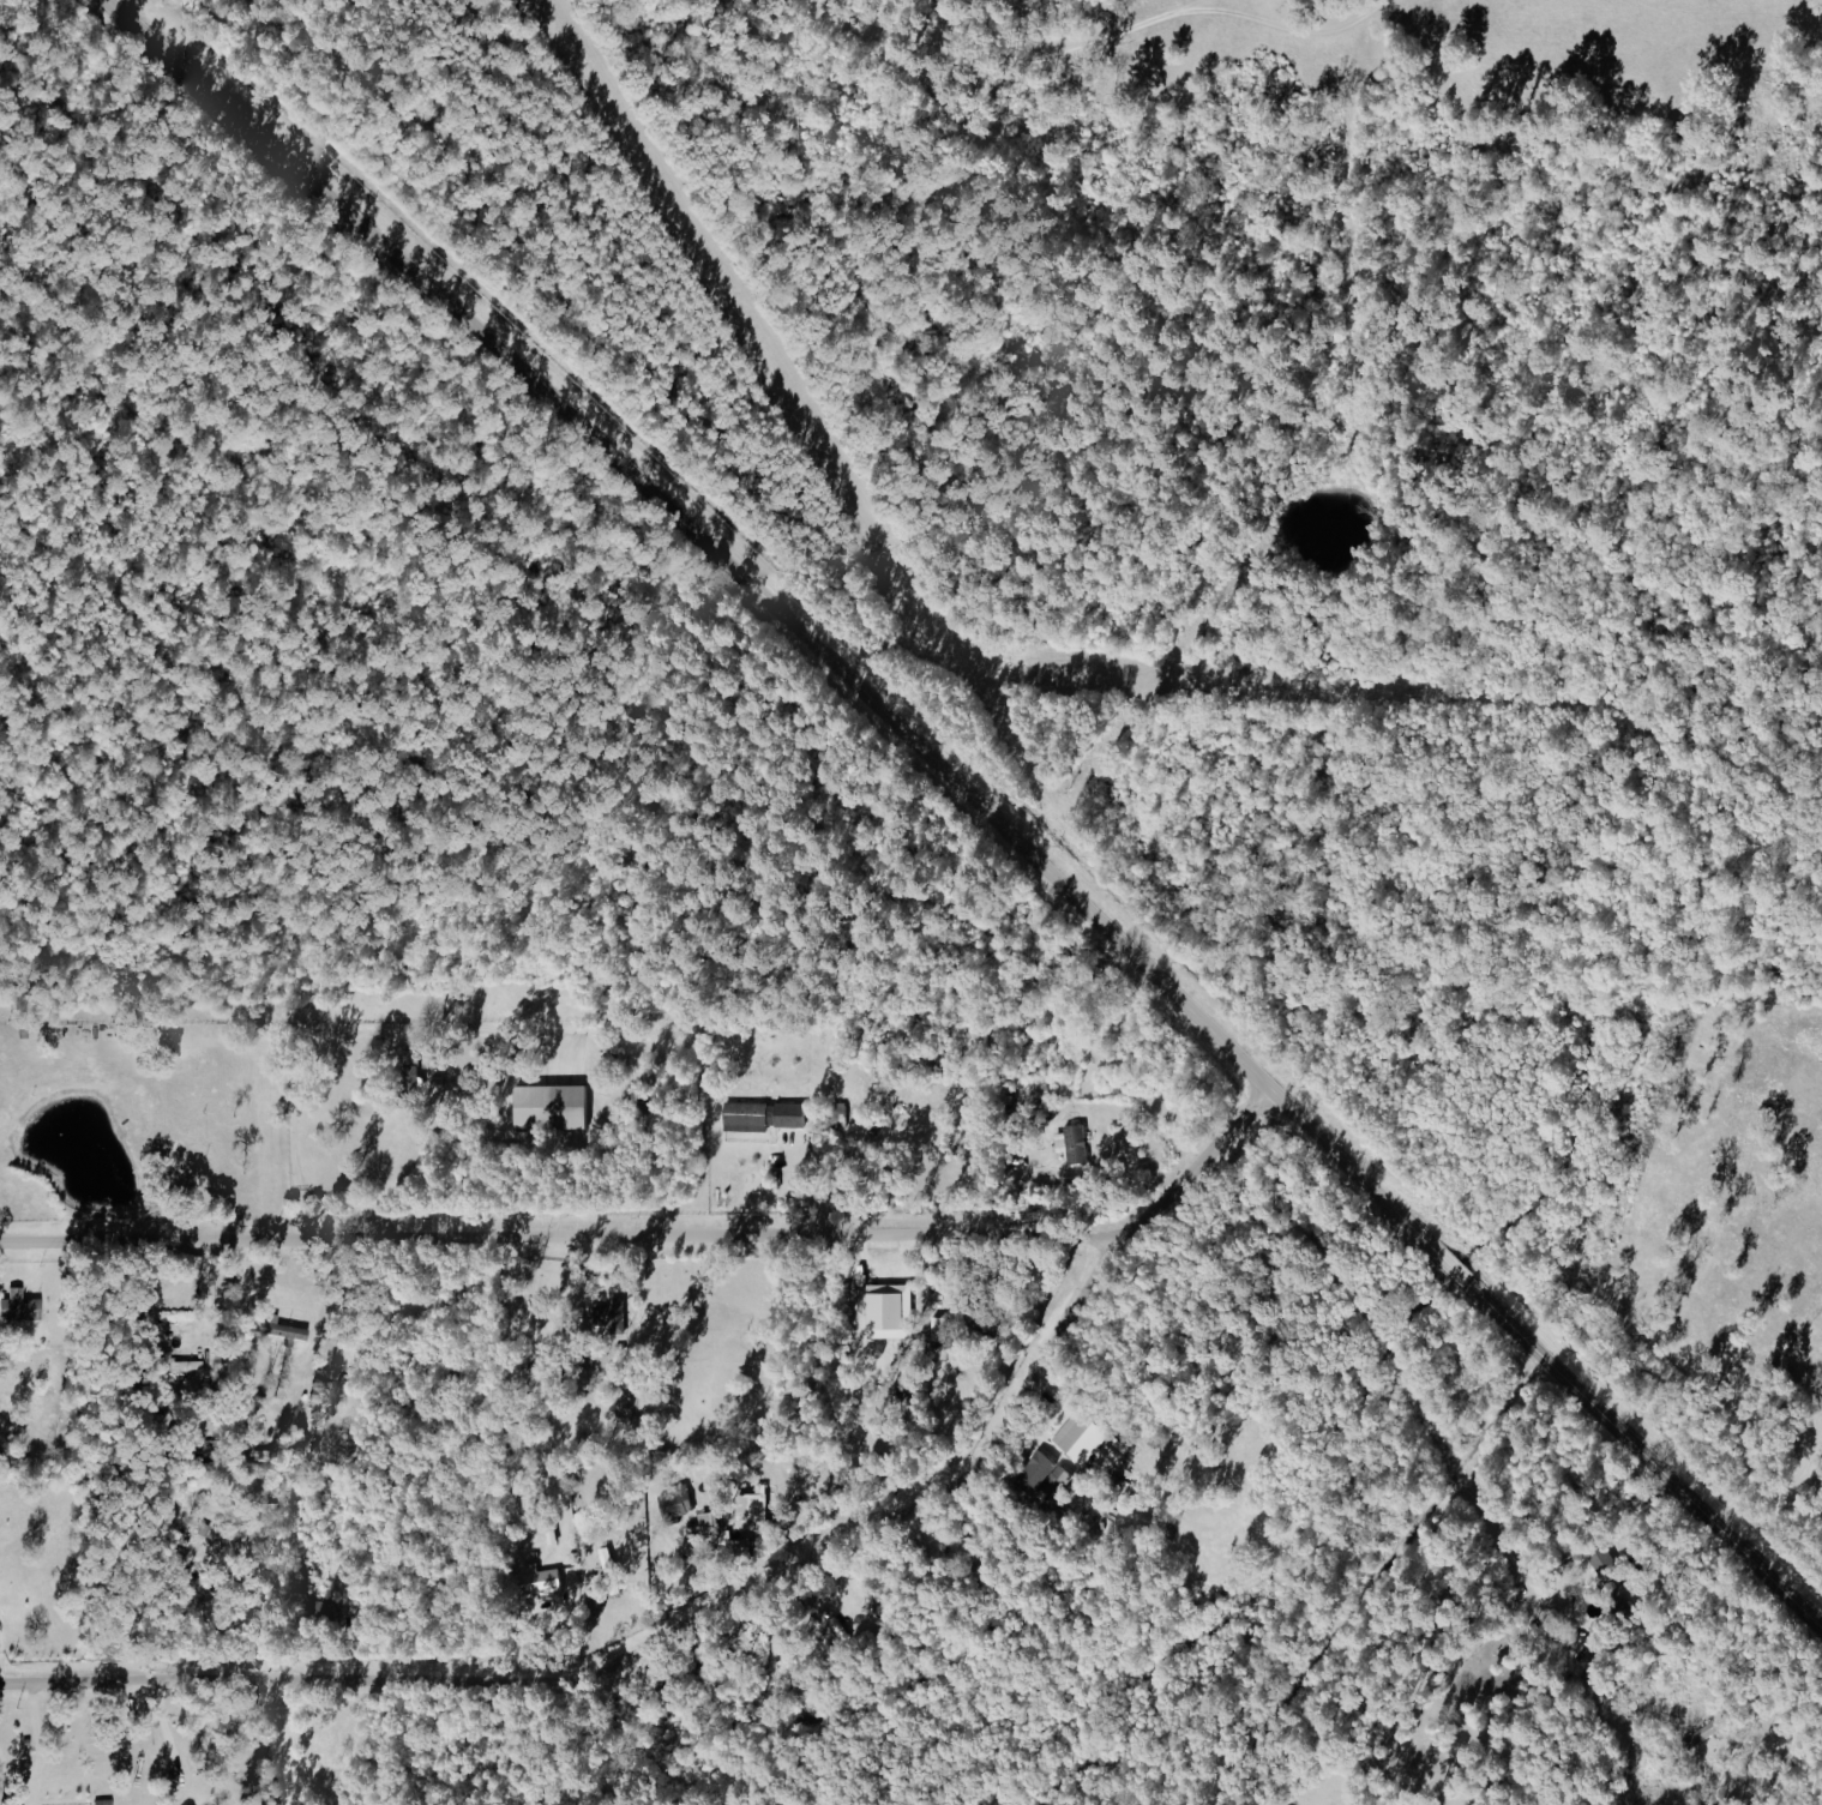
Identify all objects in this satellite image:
road: (1106, 46)
road: (974, 807)
road: (325, 1046)
building: (548, 1107)
building: (835, 1113)
building: (759, 1115)
building: (1070, 1144)
road: (840, 1186)
road: (559, 1241)
building: (18, 1307)
road: (205, 1311)
building: (614, 1316)
building: (282, 1330)
building: (938, 1330)
building: (1078, 1436)
building: (1042, 1474)
road: (1784, 1486)
building: (674, 1499)
building: (751, 1503)
building: (706, 1522)
building: (602, 1554)
road: (1367, 1576)
building: (536, 1578)
road: (733, 1593)
building: (1702, 1733)
road: (164, 1735)

